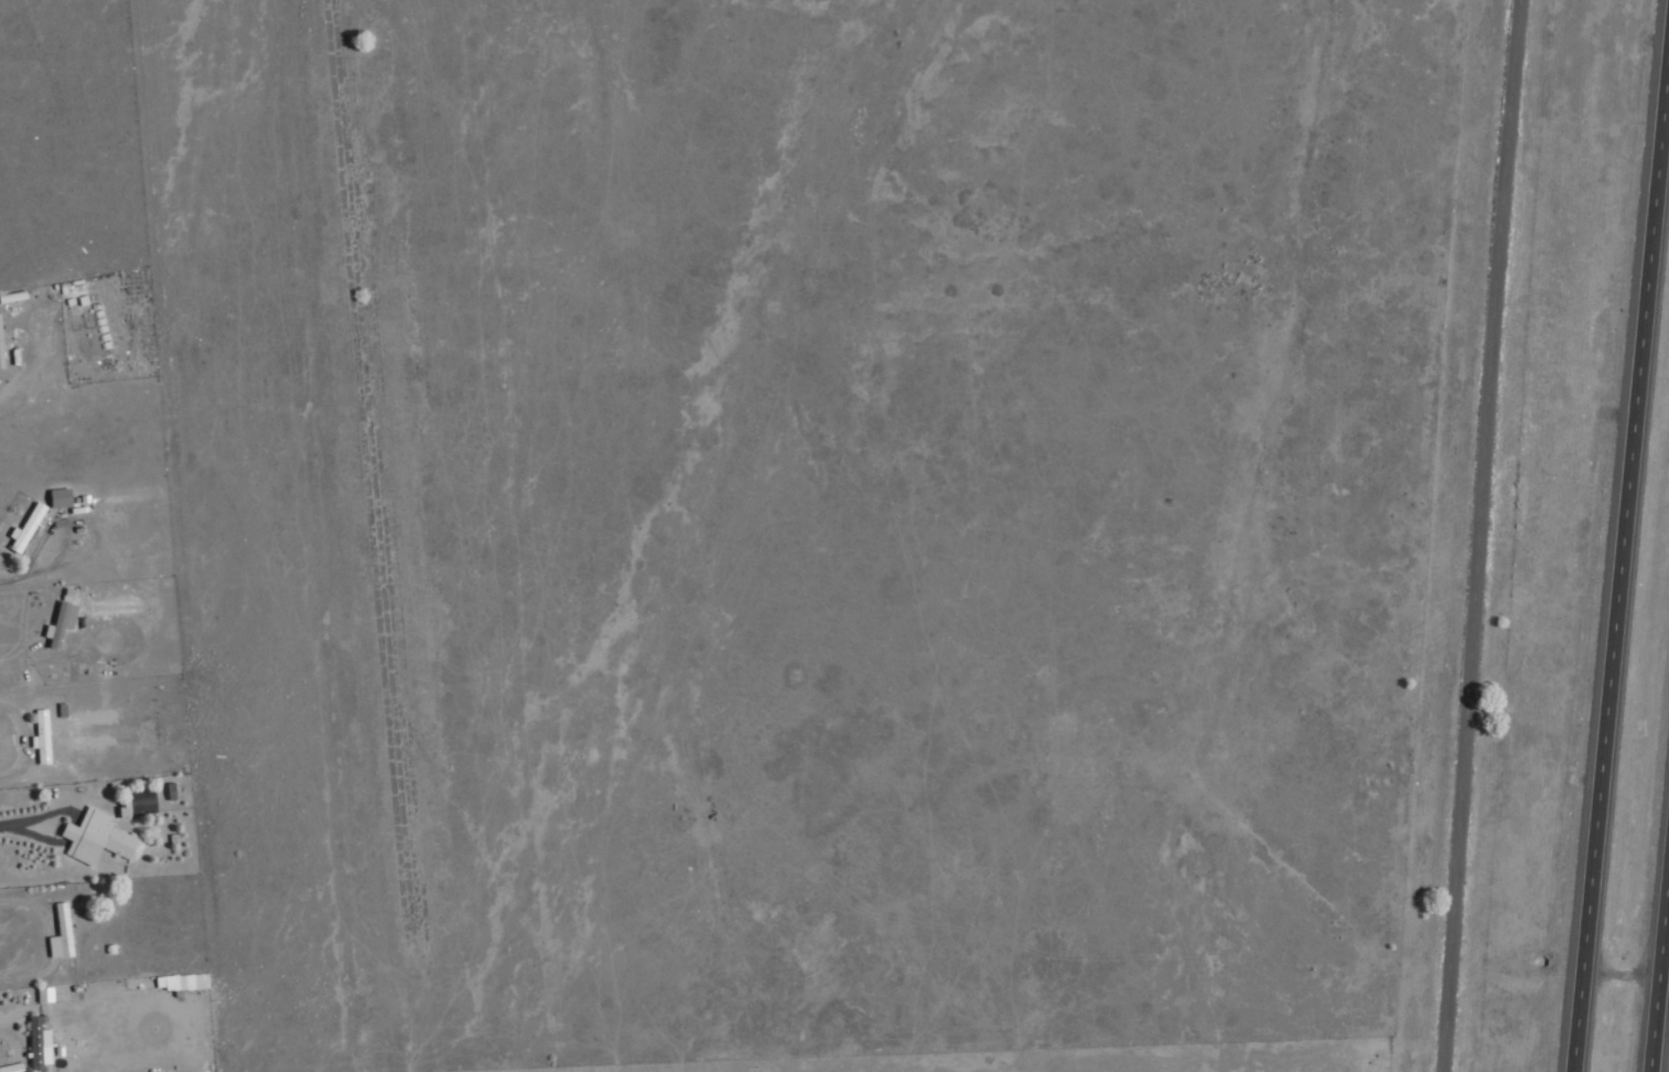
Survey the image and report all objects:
building: (1, 350)
road: (26, 390)
building: (62, 496)
airport runway: (377, 497)
road: (97, 523)
building: (26, 528)
road: (1478, 536)
road: (1618, 547)
road: (12, 577)
building: (62, 622)
building: (43, 736)
road: (35, 741)
road: (6, 822)
road: (80, 827)
building: (98, 837)
road: (52, 933)
building: (62, 933)
road: (1657, 946)
building: (45, 993)
building: (40, 1043)
road: (24, 1051)
building: (12, 1068)

